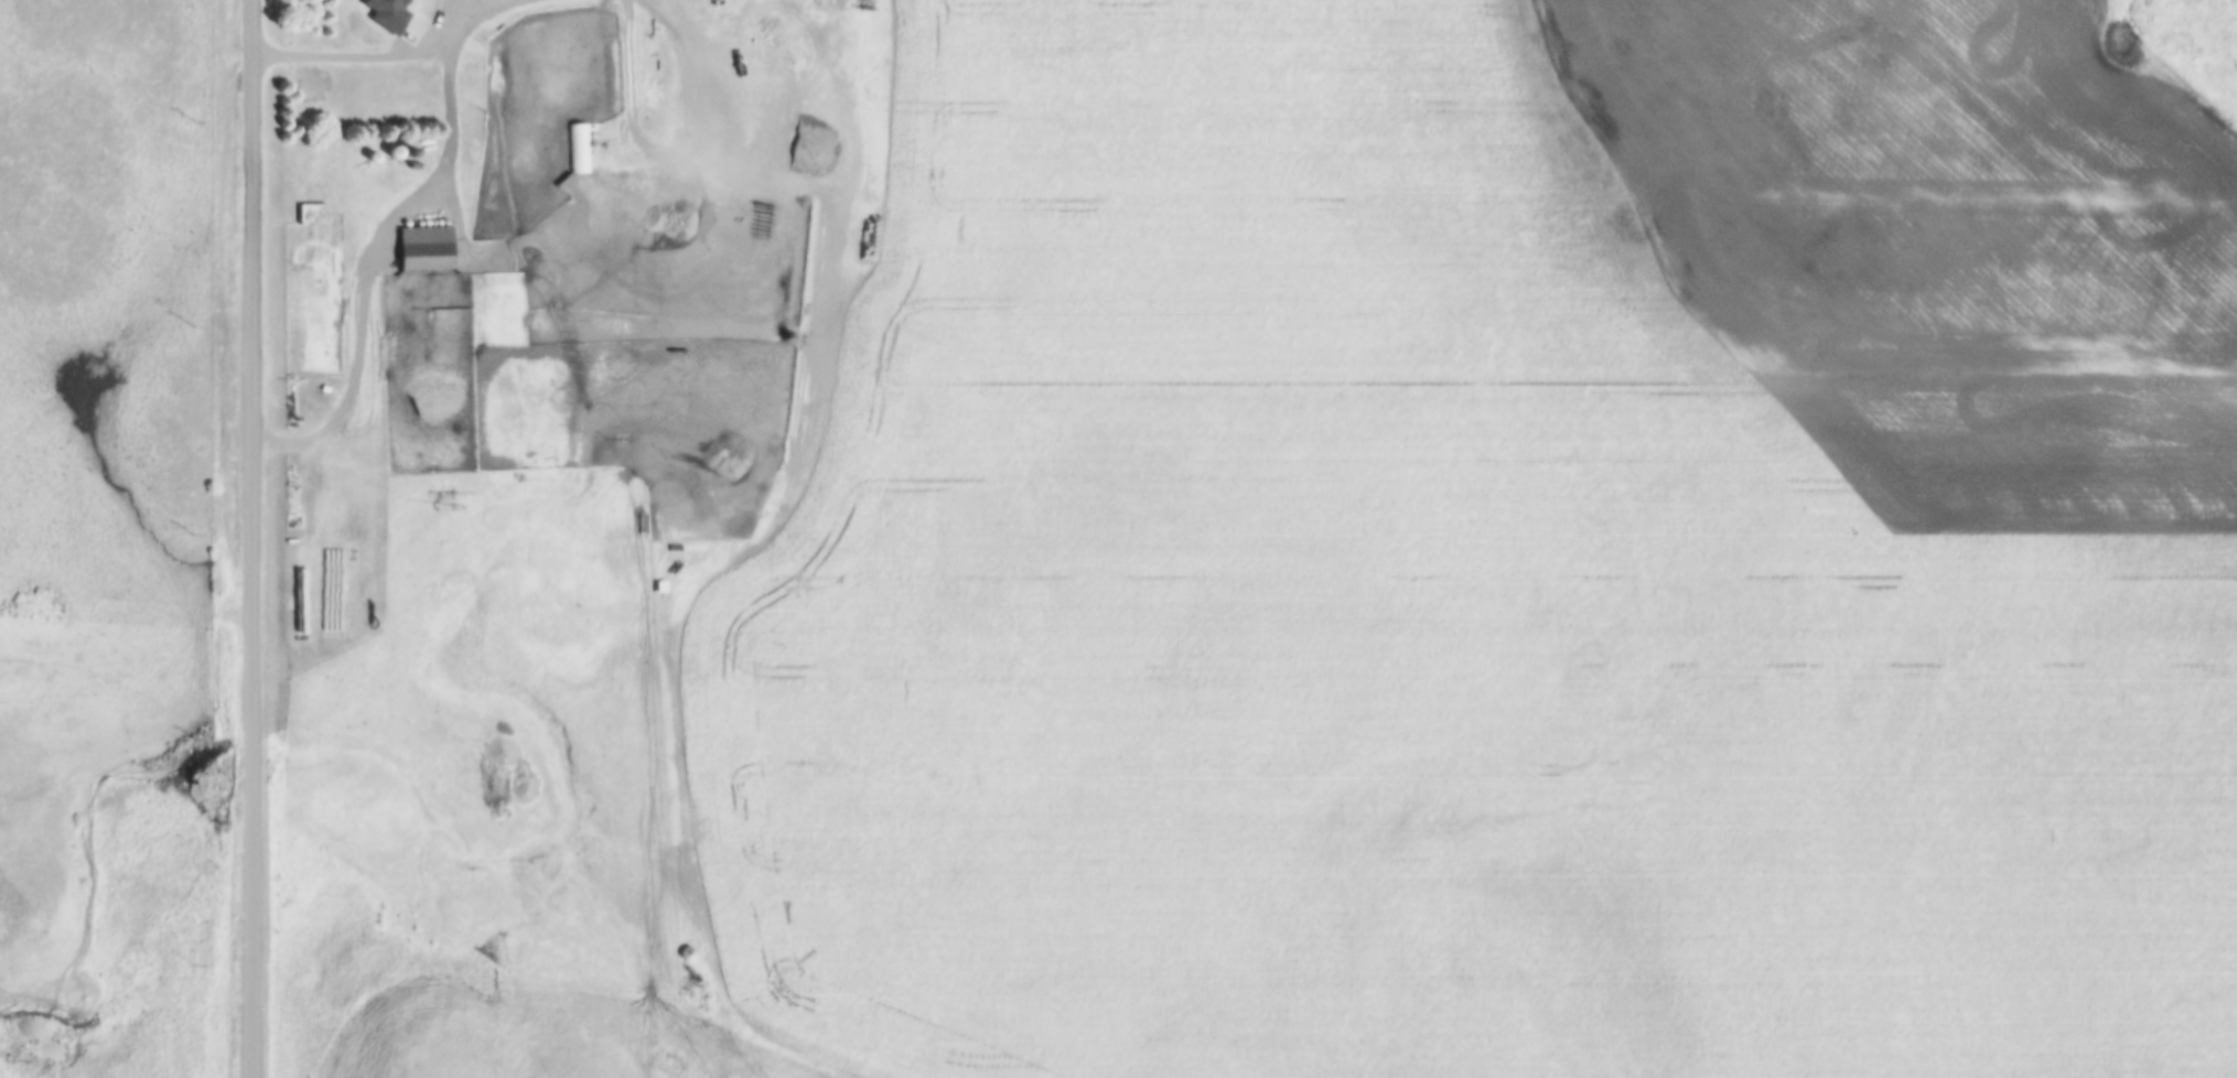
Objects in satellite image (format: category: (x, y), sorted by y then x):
road: (483, 10)
building: (417, 11)
road: (375, 55)
road: (697, 82)
building: (596, 136)
storage tank: (596, 136)
building: (582, 148)
building: (398, 152)
silo: (398, 152)
building: (391, 153)
building: (415, 153)
silo: (415, 153)
building: (429, 247)
road: (372, 258)
building: (377, 288)
storage tank: (377, 288)
road: (252, 538)

